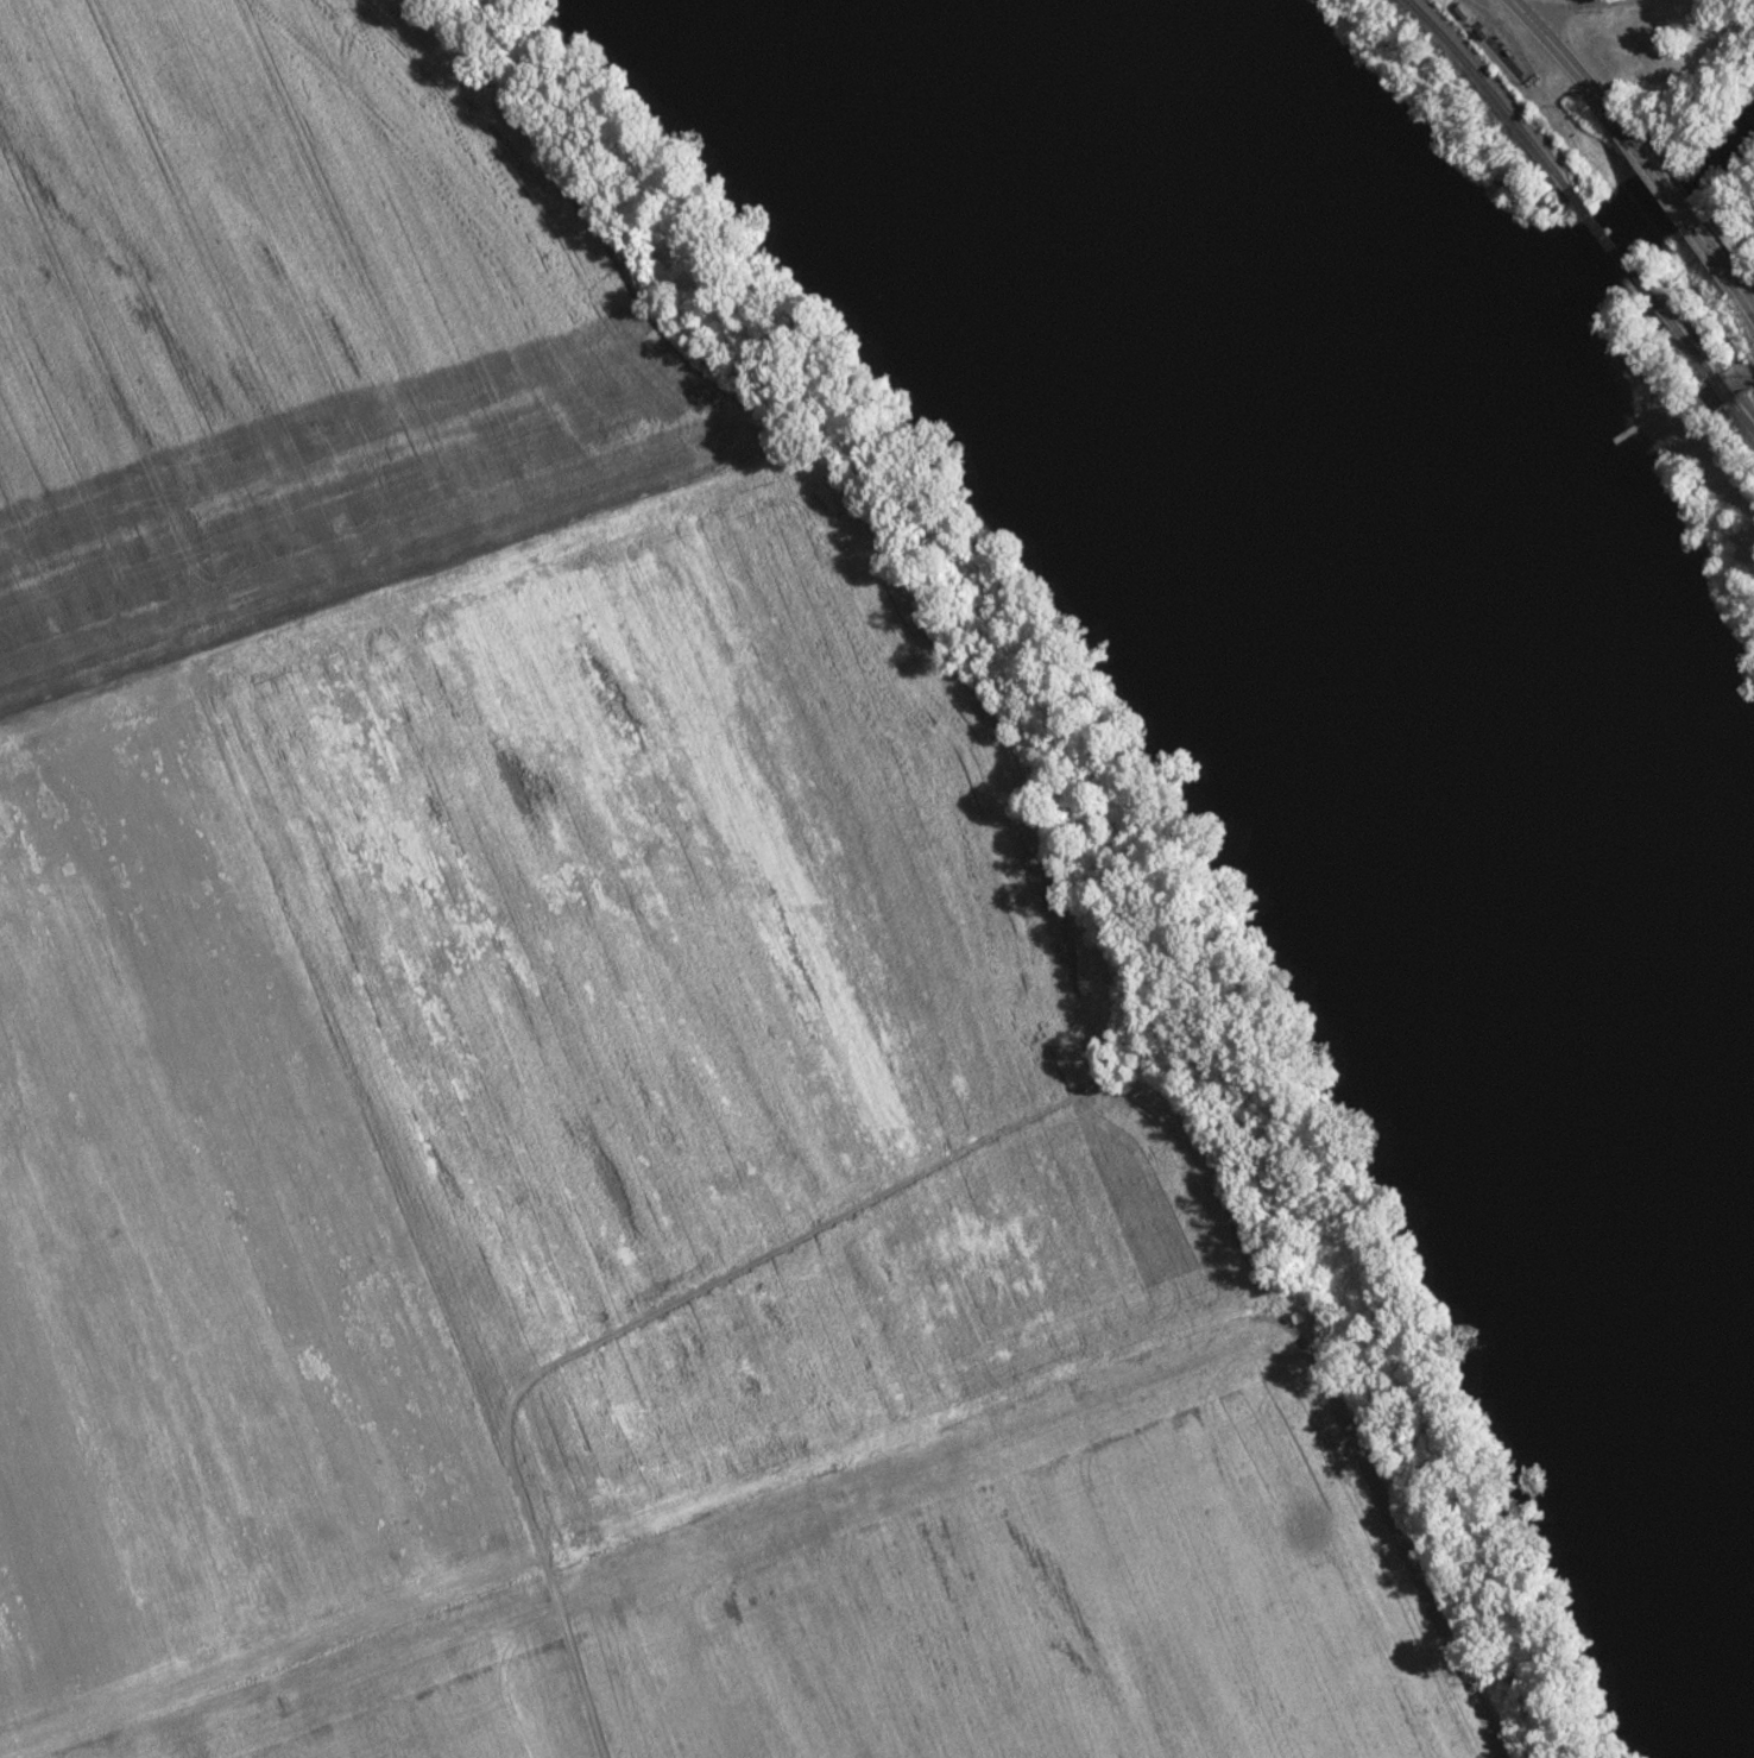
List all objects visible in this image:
road: (1566, 8)
road: (1559, 53)
railway: (1489, 92)
road: (1674, 194)
railway: (1615, 240)
road: (1744, 301)
railway: (1683, 328)
railway: (1722, 385)
road: (1701, 395)
railway: (1743, 417)
river: (1375, 705)
road: (669, 1291)

